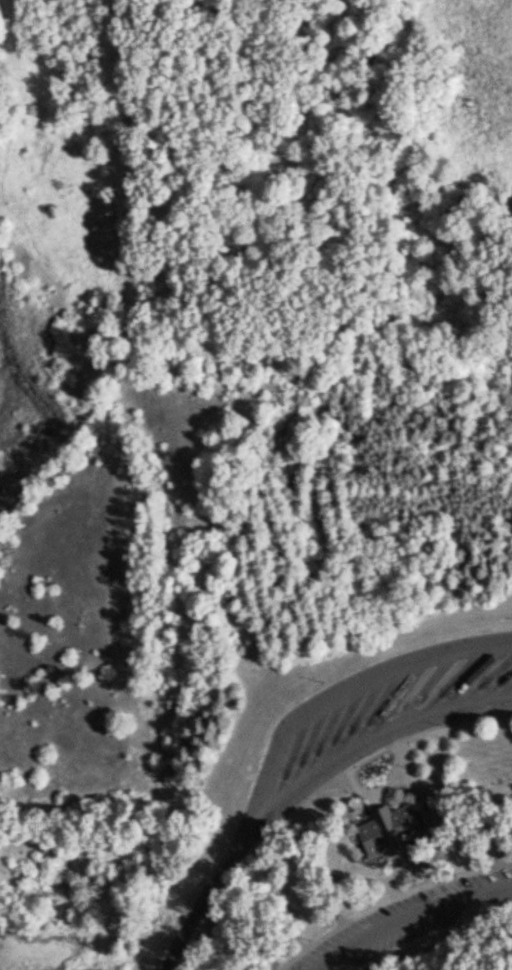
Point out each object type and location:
road: (330, 698)
parking lot: (382, 712)
road: (397, 742)
road: (397, 773)
road: (303, 785)
road: (362, 790)
road: (433, 812)
road: (510, 827)
building: (388, 832)
road: (471, 837)
road: (424, 864)
road: (392, 875)
road: (315, 877)
road: (389, 899)
road: (409, 918)
parking lot: (412, 920)

